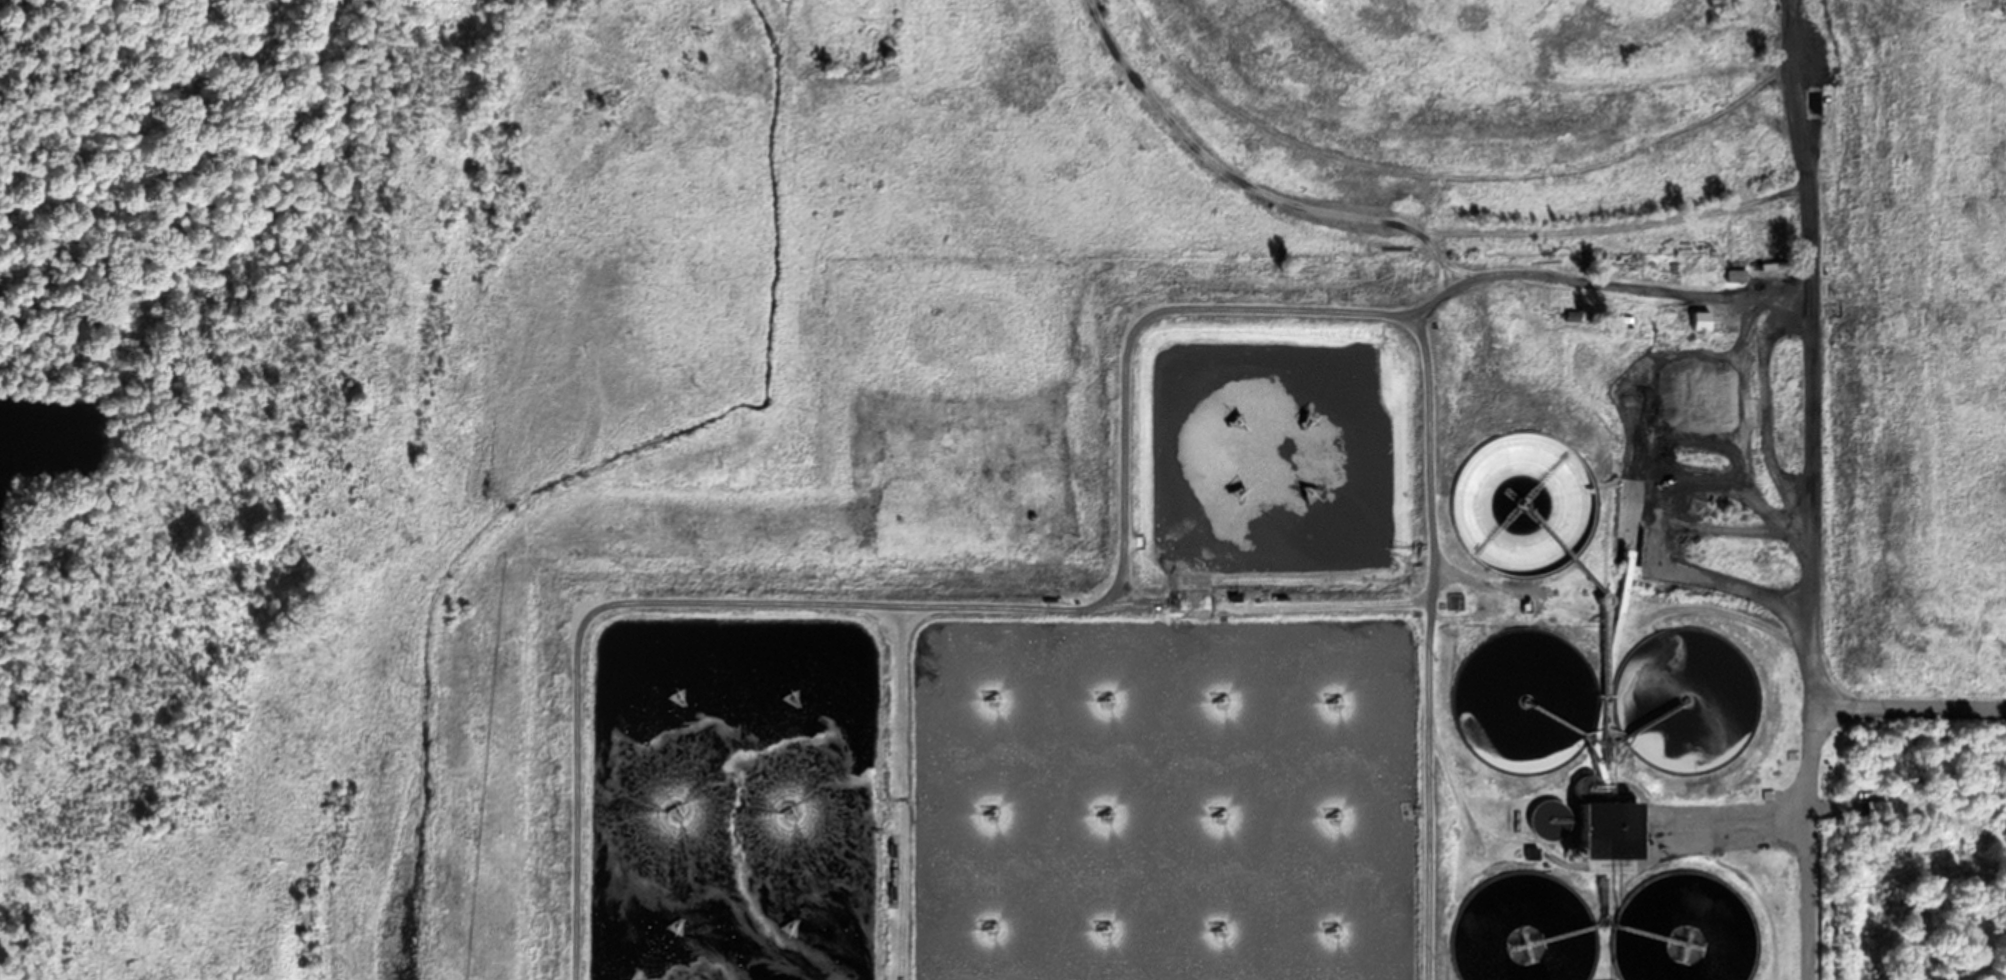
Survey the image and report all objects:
building: (1804, 31)
building: (1736, 270)
building: (1574, 315)
building: (1619, 317)
building: (1702, 319)
road: (1808, 545)
building: (1231, 597)
building: (1453, 600)
building: (1439, 604)
building: (1524, 605)
road: (1907, 712)
building: (1768, 793)
building: (1876, 807)
building: (1607, 829)
building: (888, 848)
building: (1531, 852)
building: (891, 869)
building: (888, 891)
building: (1603, 901)

